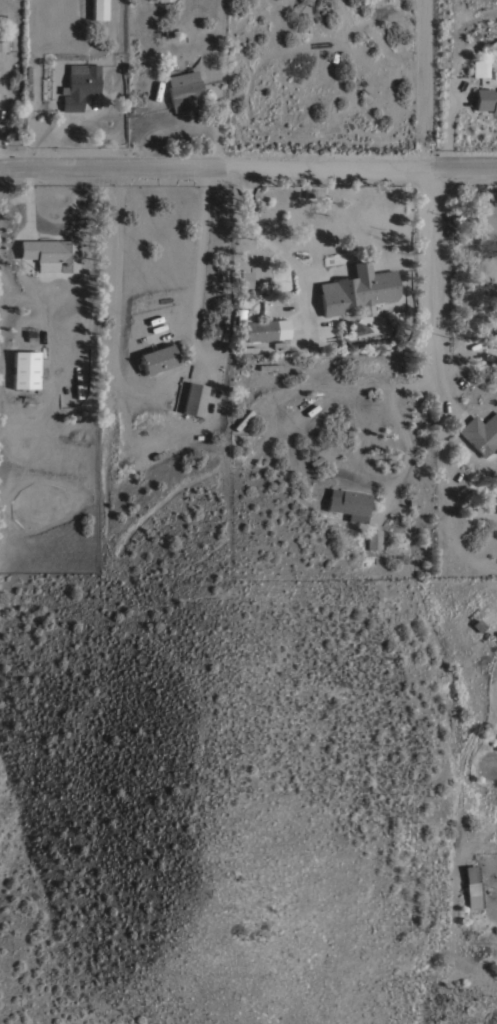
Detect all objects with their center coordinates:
building: (162, 0)
building: (98, 10)
building: (3, 46)
building: (477, 69)
building: (27, 78)
building: (180, 82)
building: (78, 85)
building: (183, 92)
building: (485, 99)
road: (248, 166)
building: (50, 254)
road: (280, 255)
road: (434, 272)
building: (243, 278)
building: (357, 290)
building: (241, 320)
building: (214, 329)
building: (265, 331)
building: (156, 358)
building: (24, 369)
building: (194, 398)
building: (309, 410)
building: (241, 420)
building: (480, 432)
building: (256, 450)
road: (330, 458)
building: (348, 503)
building: (373, 539)
road: (493, 766)
building: (468, 873)

